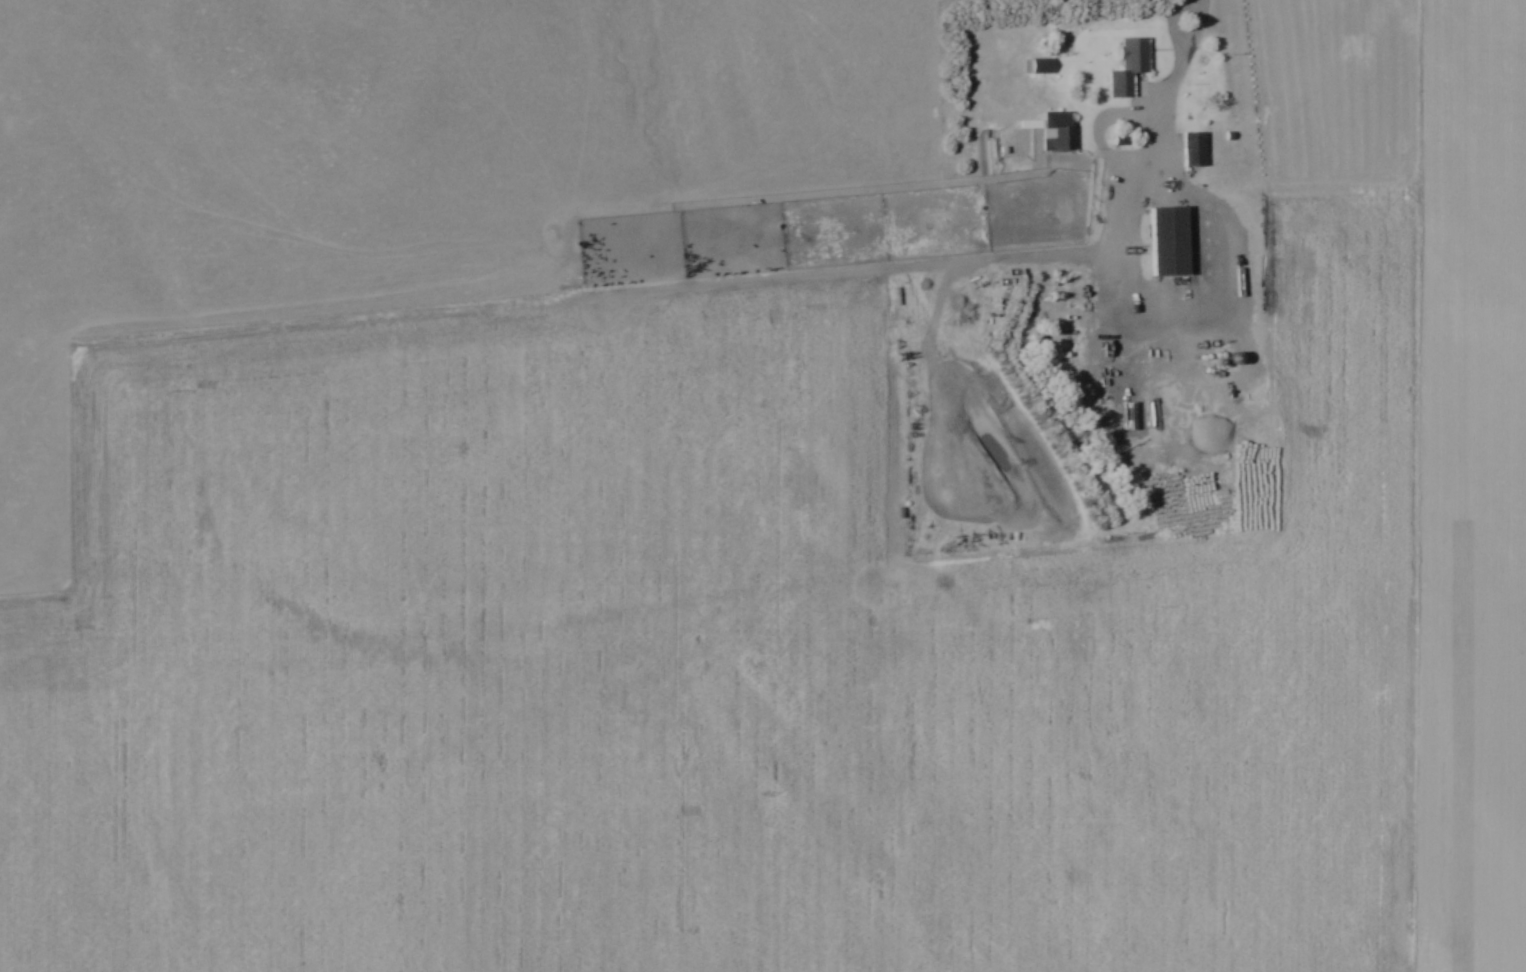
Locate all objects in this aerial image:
road: (1190, 51)
building: (1136, 56)
building: (1044, 66)
building: (1056, 130)
building: (1195, 150)
building: (1171, 242)

